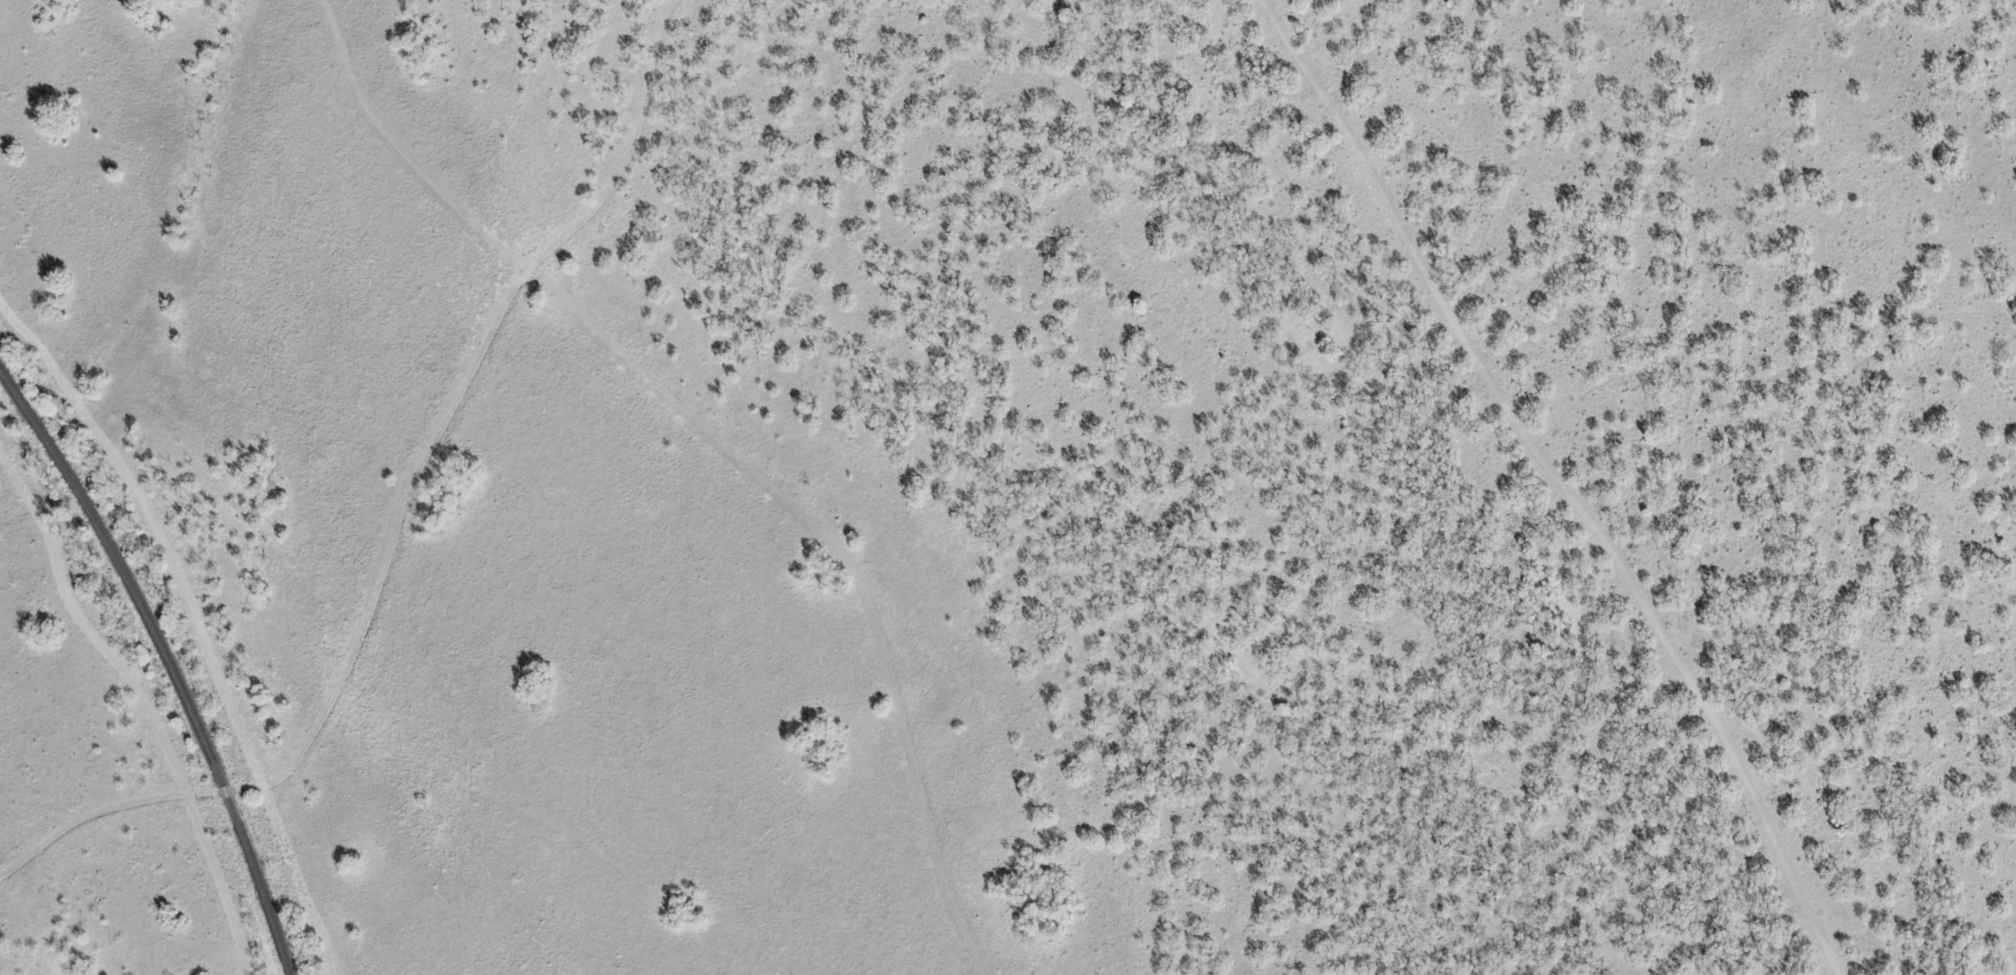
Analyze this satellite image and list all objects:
railway: (166, 662)

